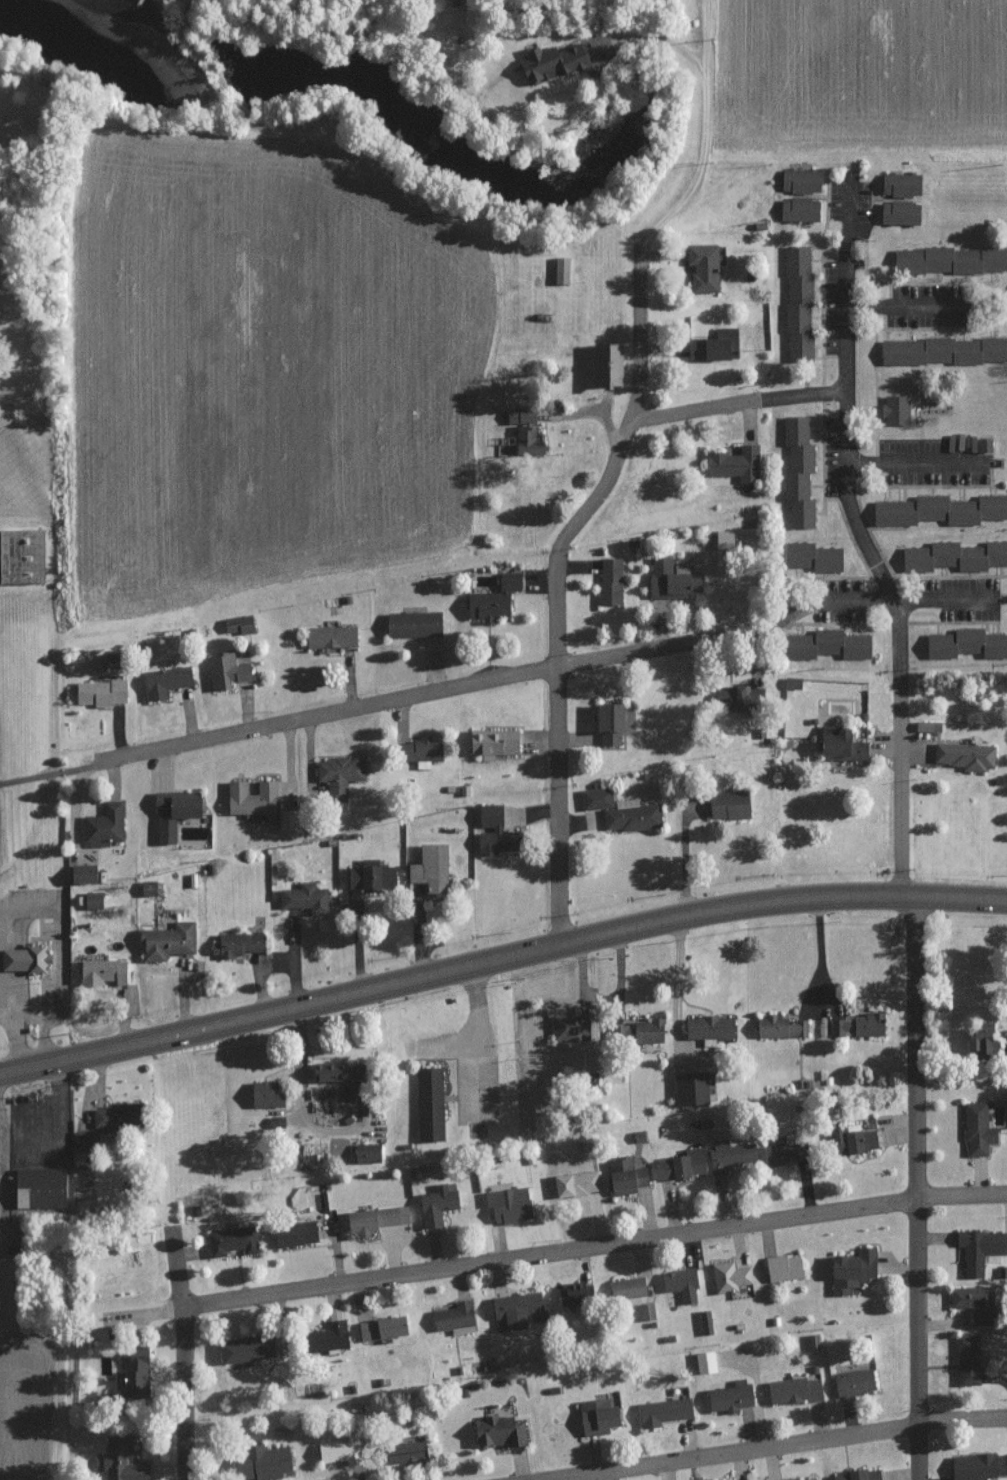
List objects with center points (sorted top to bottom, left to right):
road: (647, 38)
building: (550, 62)
building: (799, 181)
building: (899, 184)
parking lot: (850, 199)
building: (798, 209)
building: (898, 213)
road: (843, 246)
building: (949, 259)
building: (702, 267)
building: (559, 269)
building: (797, 301)
road: (899, 307)
parking lot: (931, 307)
parking lot: (832, 308)
building: (713, 344)
building: (943, 350)
building: (604, 363)
road: (732, 405)
building: (894, 408)
building: (519, 416)
building: (525, 440)
building: (983, 444)
parking lot: (833, 457)
road: (612, 463)
building: (734, 463)
parking lot: (936, 463)
road: (909, 469)
building: (797, 471)
building: (939, 509)
building: (722, 538)
building: (953, 555)
building: (811, 556)
building: (20, 557)
building: (670, 579)
building: (609, 581)
road: (890, 592)
parking lot: (966, 598)
building: (492, 599)
parking lot: (840, 601)
road: (944, 601)
building: (411, 623)
building: (237, 624)
building: (329, 637)
building: (966, 643)
building: (826, 644)
building: (224, 669)
road: (497, 680)
building: (164, 681)
building: (792, 682)
building: (99, 692)
building: (732, 697)
building: (606, 722)
building: (926, 726)
building: (491, 742)
building: (839, 745)
building: (418, 751)
building: (965, 755)
road: (49, 770)
building: (337, 774)
building: (250, 798)
building: (596, 798)
building: (727, 805)
building: (171, 812)
building: (631, 815)
building: (102, 825)
building: (491, 831)
building: (429, 867)
building: (79, 873)
building: (369, 876)
building: (146, 887)
building: (304, 897)
building: (91, 899)
road: (703, 903)
road: (1, 913)
building: (166, 940)
building: (235, 944)
road: (818, 948)
building: (25, 960)
building: (100, 971)
road: (675, 975)
road: (62, 1015)
road: (204, 1020)
road: (473, 1021)
building: (857, 1025)
building: (778, 1027)
building: (567, 1028)
building: (707, 1028)
building: (636, 1032)
road: (15, 1036)
road: (45, 1039)
building: (979, 1043)
park: (412, 1059)
building: (1004, 1063)
building: (336, 1076)
building: (691, 1086)
building: (264, 1093)
road: (297, 1093)
building: (1006, 1093)
building: (430, 1105)
building: (111, 1115)
building: (274, 1121)
building: (976, 1129)
parking lot: (34, 1133)
building: (84, 1138)
building: (849, 1139)
building: (365, 1152)
building: (780, 1152)
building: (728, 1155)
building: (680, 1164)
building: (624, 1175)
road: (913, 1182)
building: (575, 1183)
building: (40, 1189)
road: (143, 1201)
building: (435, 1204)
building: (507, 1204)
building: (373, 1218)
building: (292, 1233)
building: (230, 1241)
road: (594, 1247)
building: (979, 1248)
building: (782, 1267)
building: (851, 1270)
building: (728, 1276)
building: (680, 1284)
building: (626, 1287)
building: (973, 1302)
building: (513, 1310)
building: (646, 1311)
building: (453, 1318)
building: (705, 1322)
building: (380, 1328)
building: (326, 1336)
building: (243, 1349)
building: (966, 1359)
building: (704, 1362)
building: (131, 1370)
building: (852, 1382)
building: (794, 1390)
road: (182, 1394)
building: (729, 1396)
building: (662, 1411)
building: (595, 1416)
building: (497, 1431)
building: (340, 1450)
road: (782, 1452)
building: (404, 1453)
building: (120, 1460)
building: (260, 1462)
building: (1005, 1463)
building: (971, 1466)
building: (857, 1475)
building: (803, 1478)

